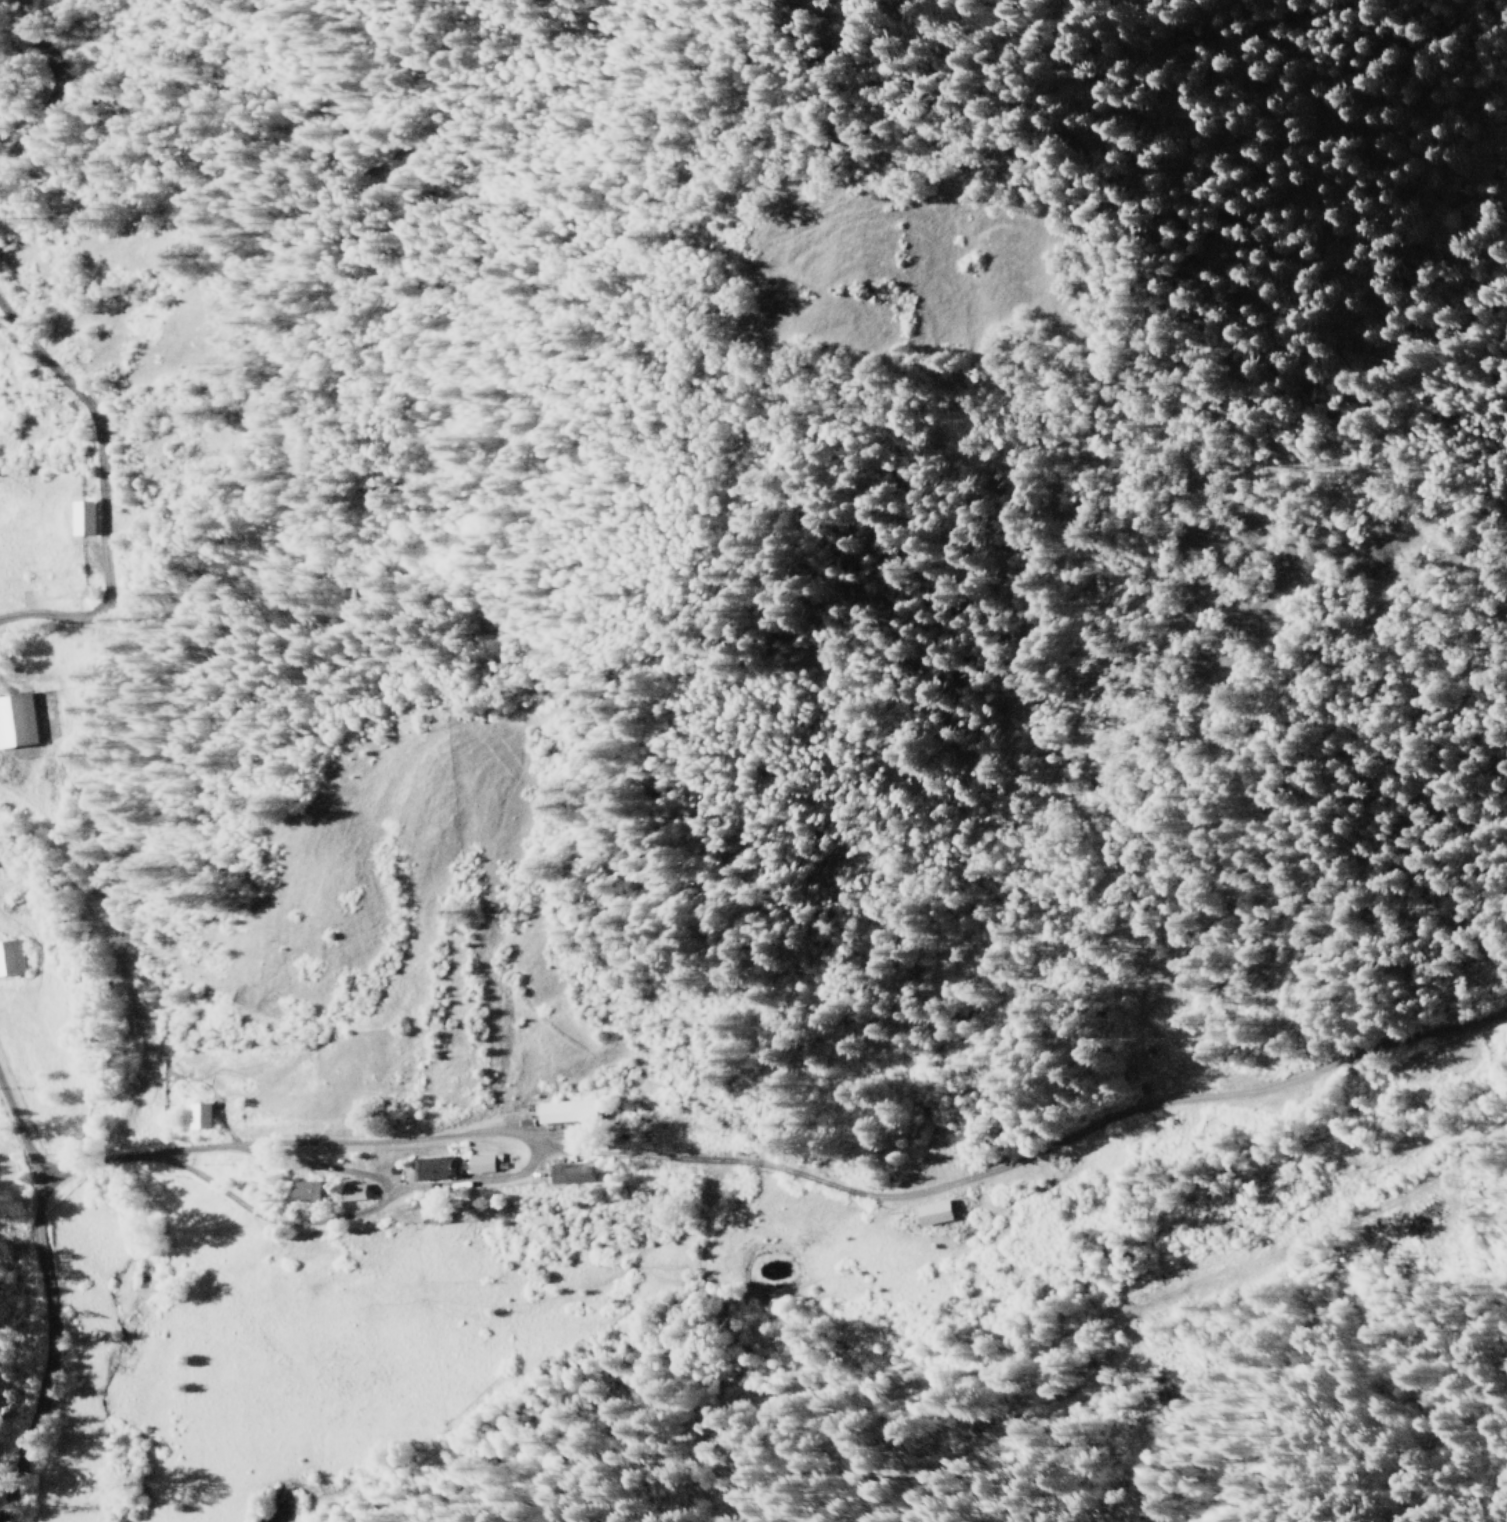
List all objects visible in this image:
road: (39, 127)
building: (80, 517)
building: (16, 720)
road: (95, 805)
building: (10, 957)
building: (564, 1111)
building: (197, 1116)
road: (500, 1129)
building: (477, 1163)
building: (430, 1168)
building: (568, 1173)
building: (304, 1190)
building: (350, 1191)
building: (931, 1213)
road: (36, 1216)
road: (751, 1236)
road: (44, 1391)

